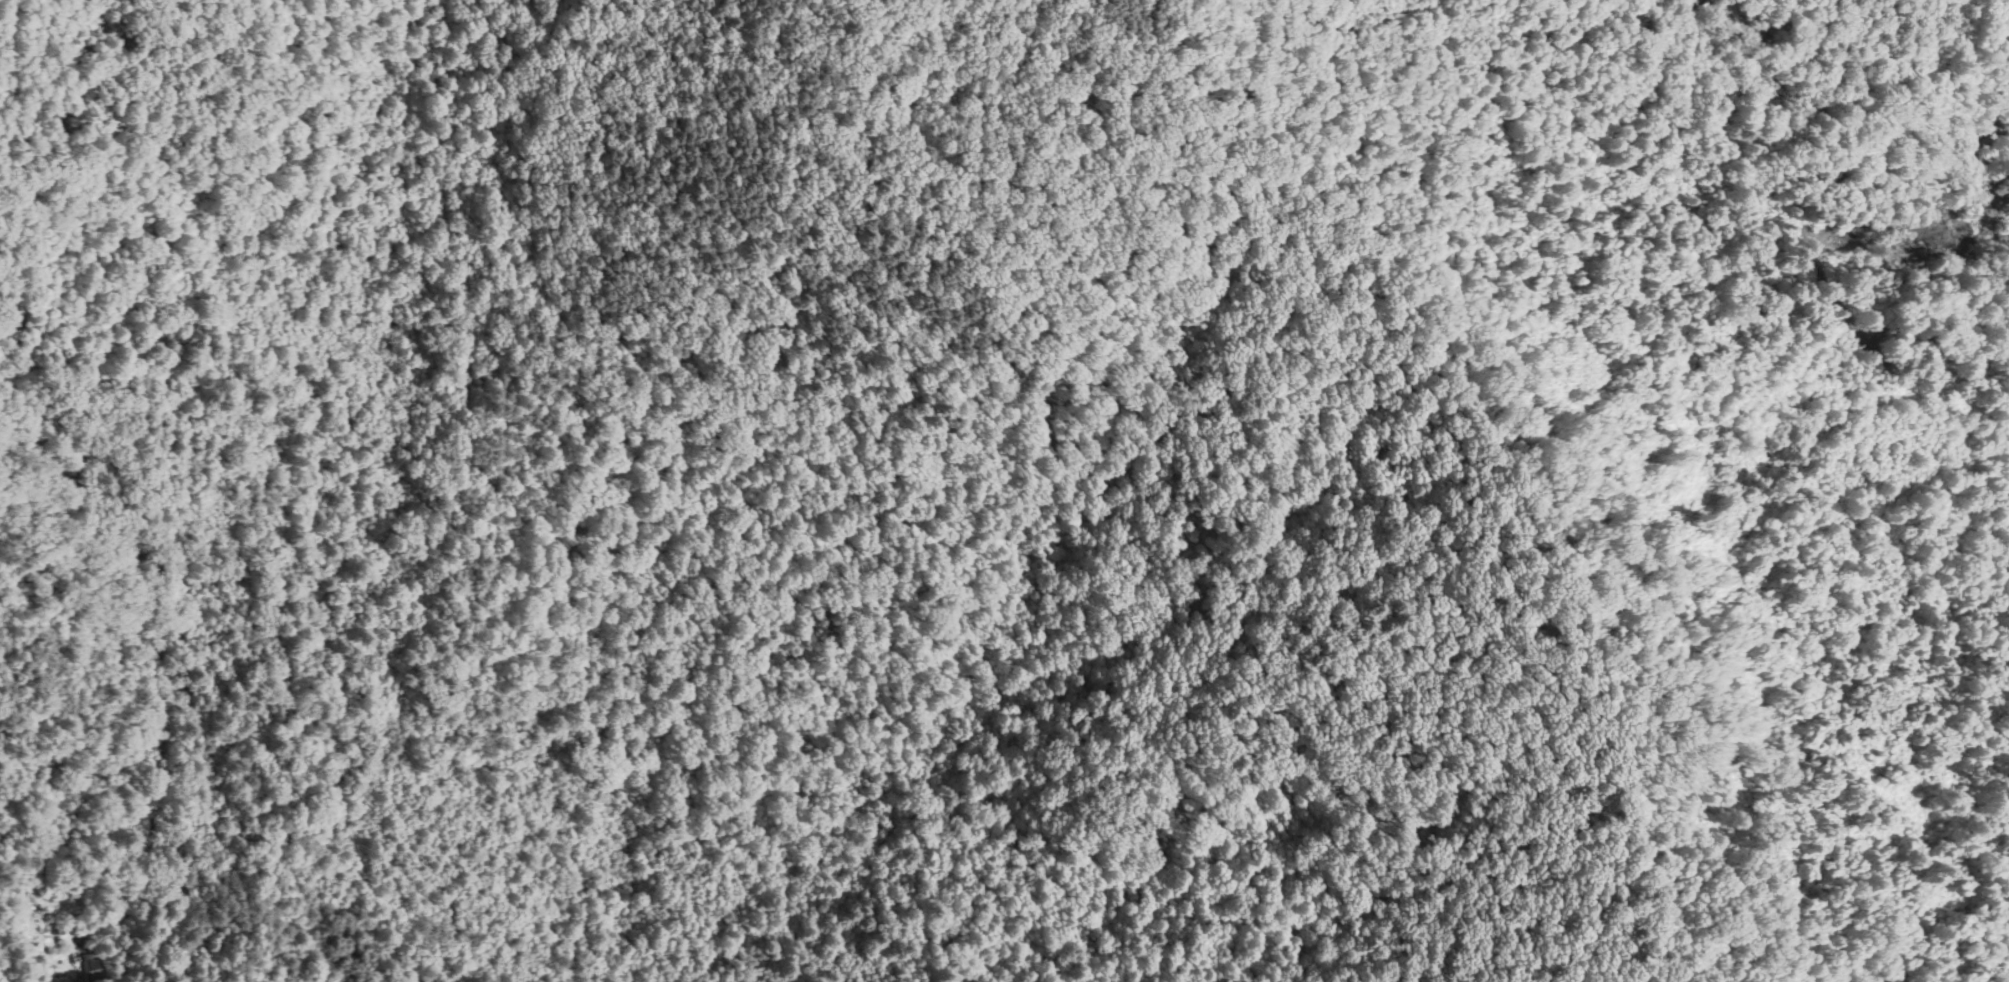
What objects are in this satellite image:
building: (80, 938)
building: (83, 968)
building: (91, 969)
road: (77, 980)

